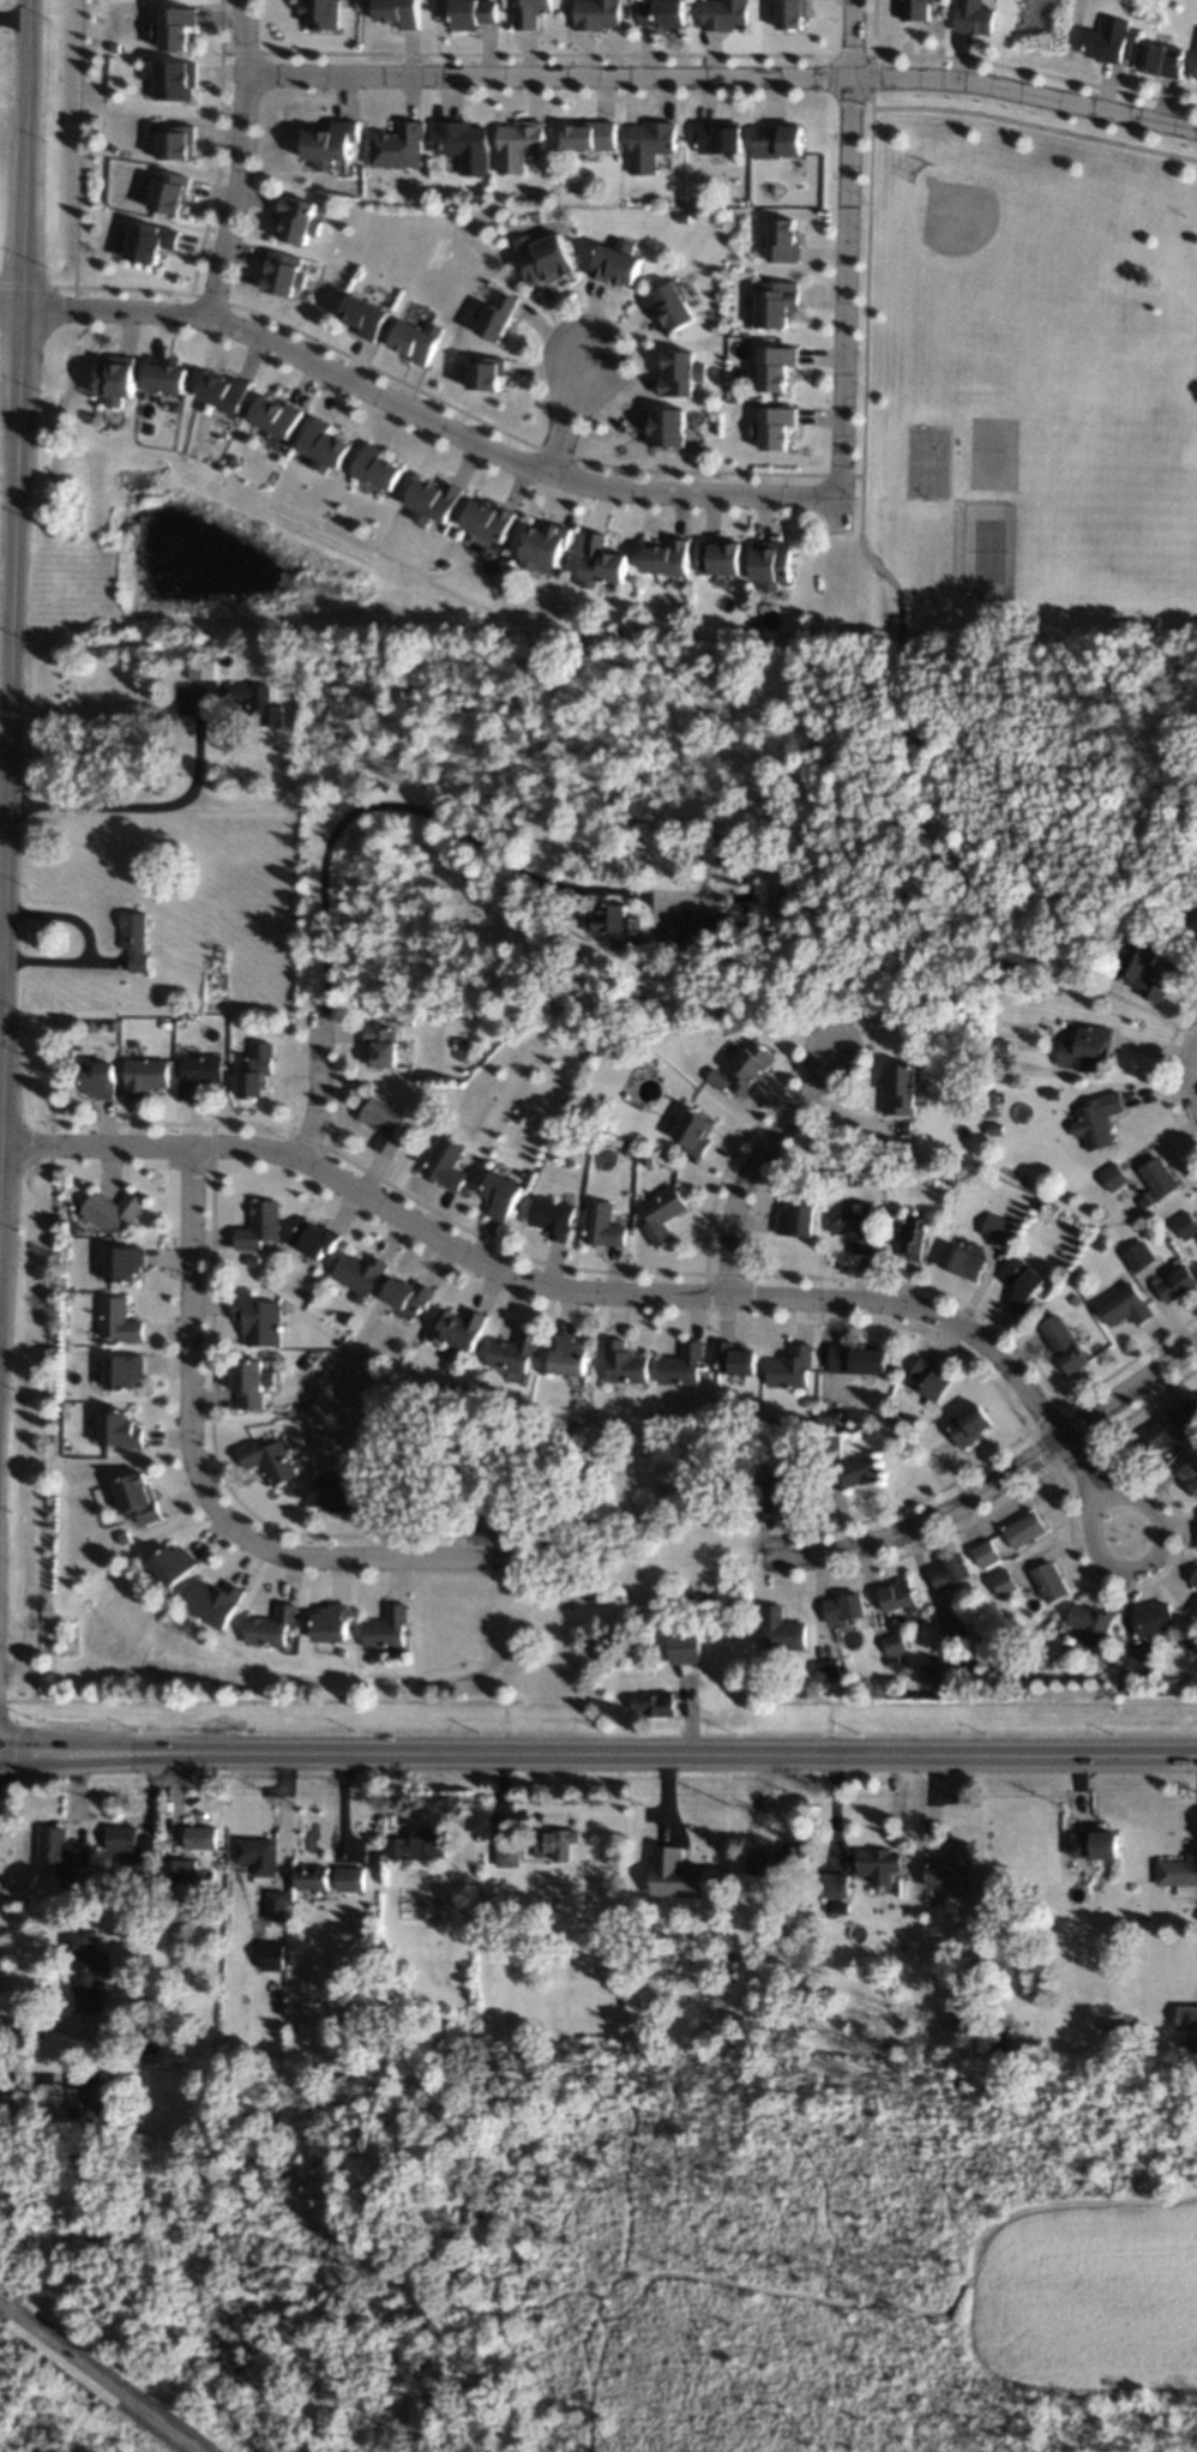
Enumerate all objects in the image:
building: (913, 10)
building: (398, 12)
building: (320, 13)
building: (471, 13)
building: (662, 13)
building: (792, 13)
building: (529, 14)
building: (595, 14)
building: (724, 14)
building: (972, 17)
building: (176, 28)
building: (1107, 41)
road: (711, 53)
building: (1159, 59)
building: (1195, 71)
road: (724, 77)
building: (175, 80)
road: (1035, 125)
building: (589, 136)
building: (717, 137)
building: (777, 140)
building: (175, 142)
building: (329, 144)
building: (462, 144)
building: (517, 144)
building: (649, 145)
building: (397, 146)
road: (218, 148)
road: (239, 157)
building: (169, 193)
building: (715, 215)
building: (295, 220)
building: (149, 241)
building: (783, 241)
building: (543, 259)
road: (846, 262)
building: (615, 263)
road: (867, 265)
park: (1004, 268)
building: (282, 274)
road: (10, 299)
building: (775, 302)
building: (669, 305)
building: (363, 315)
building: (497, 315)
building: (414, 341)
building: (775, 367)
building: (485, 373)
building: (680, 373)
building: (164, 377)
building: (115, 379)
building: (224, 392)
road: (459, 410)
road: (425, 415)
building: (276, 416)
road: (567, 417)
building: (664, 427)
building: (774, 427)
building: (324, 446)
park: (993, 452)
park: (928, 462)
building: (375, 468)
road: (14, 497)
building: (431, 500)
building: (487, 521)
park: (1019, 531)
building: (543, 546)
park: (986, 549)
building: (667, 557)
building: (720, 557)
park: (185, 558)
building: (600, 561)
building: (770, 564)
building: (199, 668)
building: (259, 702)
road: (4, 782)
road: (162, 809)
road: (417, 811)
road: (955, 833)
building: (488, 890)
building: (614, 919)
building: (1192, 920)
building: (706, 924)
building: (134, 940)
road: (88, 944)
building: (1142, 969)
building: (405, 1021)
building: (239, 1023)
building: (112, 1026)
building: (164, 1026)
building: (618, 1036)
building: (579, 1042)
building: (1000, 1042)
building: (379, 1045)
road: (1193, 1046)
building: (1087, 1048)
building: (747, 1066)
building: (254, 1070)
building: (198, 1074)
road: (1165, 1074)
building: (143, 1076)
road: (1193, 1077)
building: (98, 1080)
road: (338, 1083)
road: (318, 1086)
building: (900, 1090)
building: (1052, 1093)
building: (1097, 1120)
building: (383, 1125)
building: (640, 1129)
building: (996, 1129)
building: (692, 1131)
building: (624, 1149)
building: (686, 1156)
building: (603, 1160)
building: (444, 1165)
road: (752, 1165)
road: (720, 1176)
building: (1113, 1177)
building: (1157, 1178)
building: (951, 1180)
building: (500, 1195)
building: (1148, 1195)
building: (1039, 1207)
building: (865, 1209)
building: (110, 1210)
building: (660, 1215)
building: (551, 1218)
building: (795, 1220)
building: (601, 1225)
building: (1185, 1225)
building: (260, 1226)
building: (997, 1227)
building: (853, 1230)
building: (912, 1237)
building: (314, 1238)
building: (1101, 1246)
building: (1137, 1256)
building: (253, 1261)
building: (961, 1261)
building: (124, 1263)
building: (317, 1272)
building: (360, 1272)
road: (543, 1281)
building: (1175, 1284)
building: (1022, 1285)
road: (924, 1286)
building: (333, 1290)
building: (408, 1296)
building: (1072, 1300)
building: (1123, 1306)
road: (192, 1317)
building: (257, 1318)
building: (119, 1321)
building: (458, 1328)
building: (1063, 1344)
building: (515, 1351)
building: (569, 1356)
road: (43, 1357)
building: (856, 1358)
building: (734, 1359)
building: (624, 1363)
building: (682, 1365)
building: (307, 1366)
building: (790, 1368)
building: (341, 1369)
building: (124, 1371)
building: (377, 1380)
building: (930, 1381)
building: (248, 1383)
road: (211, 1392)
road: (1129, 1393)
building: (723, 1412)
building: (1185, 1416)
building: (829, 1417)
building: (770, 1419)
building: (895, 1419)
building: (967, 1425)
building: (120, 1431)
building: (1155, 1437)
building: (1196, 1440)
building: (829, 1448)
road: (991, 1456)
building: (269, 1460)
road: (1077, 1465)
building: (858, 1471)
building: (1189, 1474)
building: (361, 1483)
building: (783, 1486)
building: (575, 1491)
road: (1015, 1494)
building: (332, 1495)
building: (138, 1498)
road: (919, 1524)
building: (1023, 1528)
building: (124, 1537)
building: (984, 1552)
road: (332, 1556)
building: (173, 1564)
road: (1139, 1564)
building: (949, 1571)
building: (1192, 1579)
building: (1047, 1582)
building: (1003, 1583)
building: (896, 1595)
building: (215, 1603)
building: (842, 1607)
building: (1192, 1609)
building: (179, 1618)
building: (1151, 1619)
building: (331, 1623)
building: (1088, 1623)
building: (271, 1627)
building: (951, 1627)
building: (386, 1629)
building: (780, 1629)
building: (892, 1643)
building: (682, 1648)
building: (1138, 1655)
building: (1105, 1658)
building: (976, 1660)
building: (892, 1663)
building: (826, 1671)
road: (259, 1701)
road: (976, 1702)
building: (652, 1703)
road: (598, 1755)
building: (199, 1839)
building: (417, 1845)
building: (557, 1845)
building: (1096, 1845)
building: (130, 1850)
building: (59, 1852)
building: (506, 1857)
building: (255, 1858)
building: (790, 1861)
building: (874, 1861)
building: (101, 1862)
building: (757, 1867)
building: (950, 1869)
building: (176, 1870)
building: (675, 1875)
building: (1178, 1875)
building: (349, 1879)
building: (317, 1881)
building: (832, 1886)
building: (495, 1904)
building: (182, 1905)
building: (273, 1906)
building: (838, 1909)
building: (278, 1953)
building: (84, 1970)
building: (390, 1970)
building: (968, 1975)
building: (1173, 2012)
building: (1189, 2019)
road: (50, 2027)
building: (912, 2032)
building: (1125, 2035)
building: (144, 2044)
building: (209, 2078)
building: (85, 2103)
crop: (1088, 2298)
park: (44, 2418)

